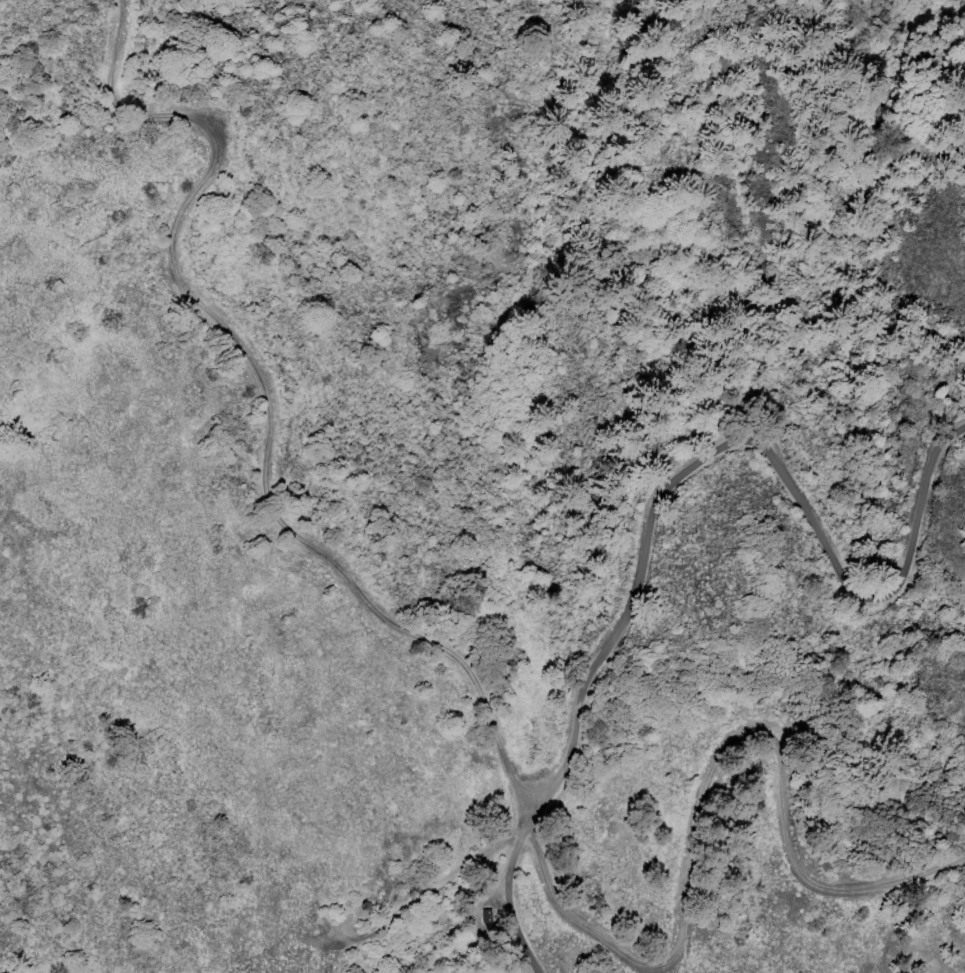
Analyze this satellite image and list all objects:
road: (663, 494)
road: (493, 707)
road: (445, 887)
building: (365, 906)
storage tank: (365, 906)

